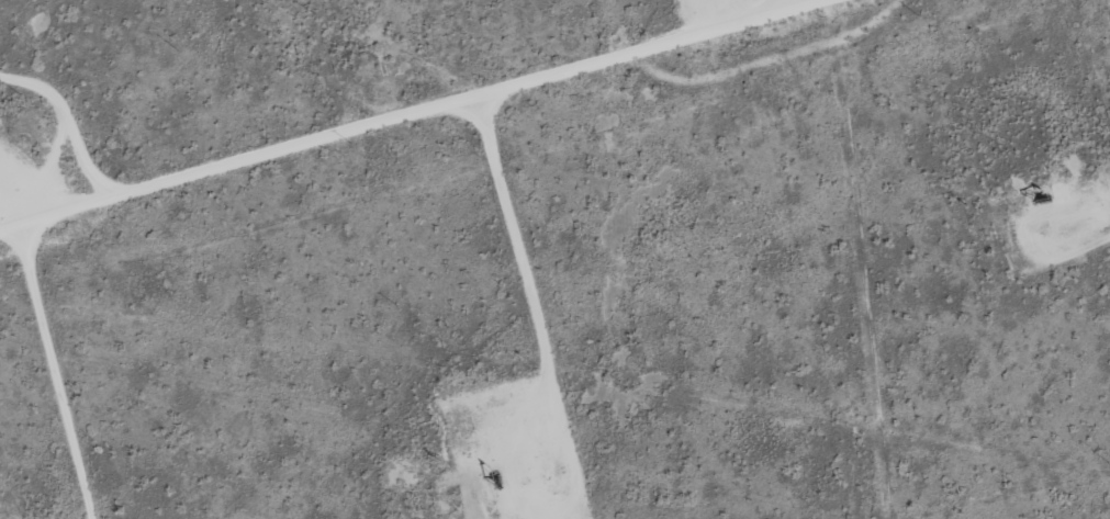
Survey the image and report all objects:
road: (412, 110)

